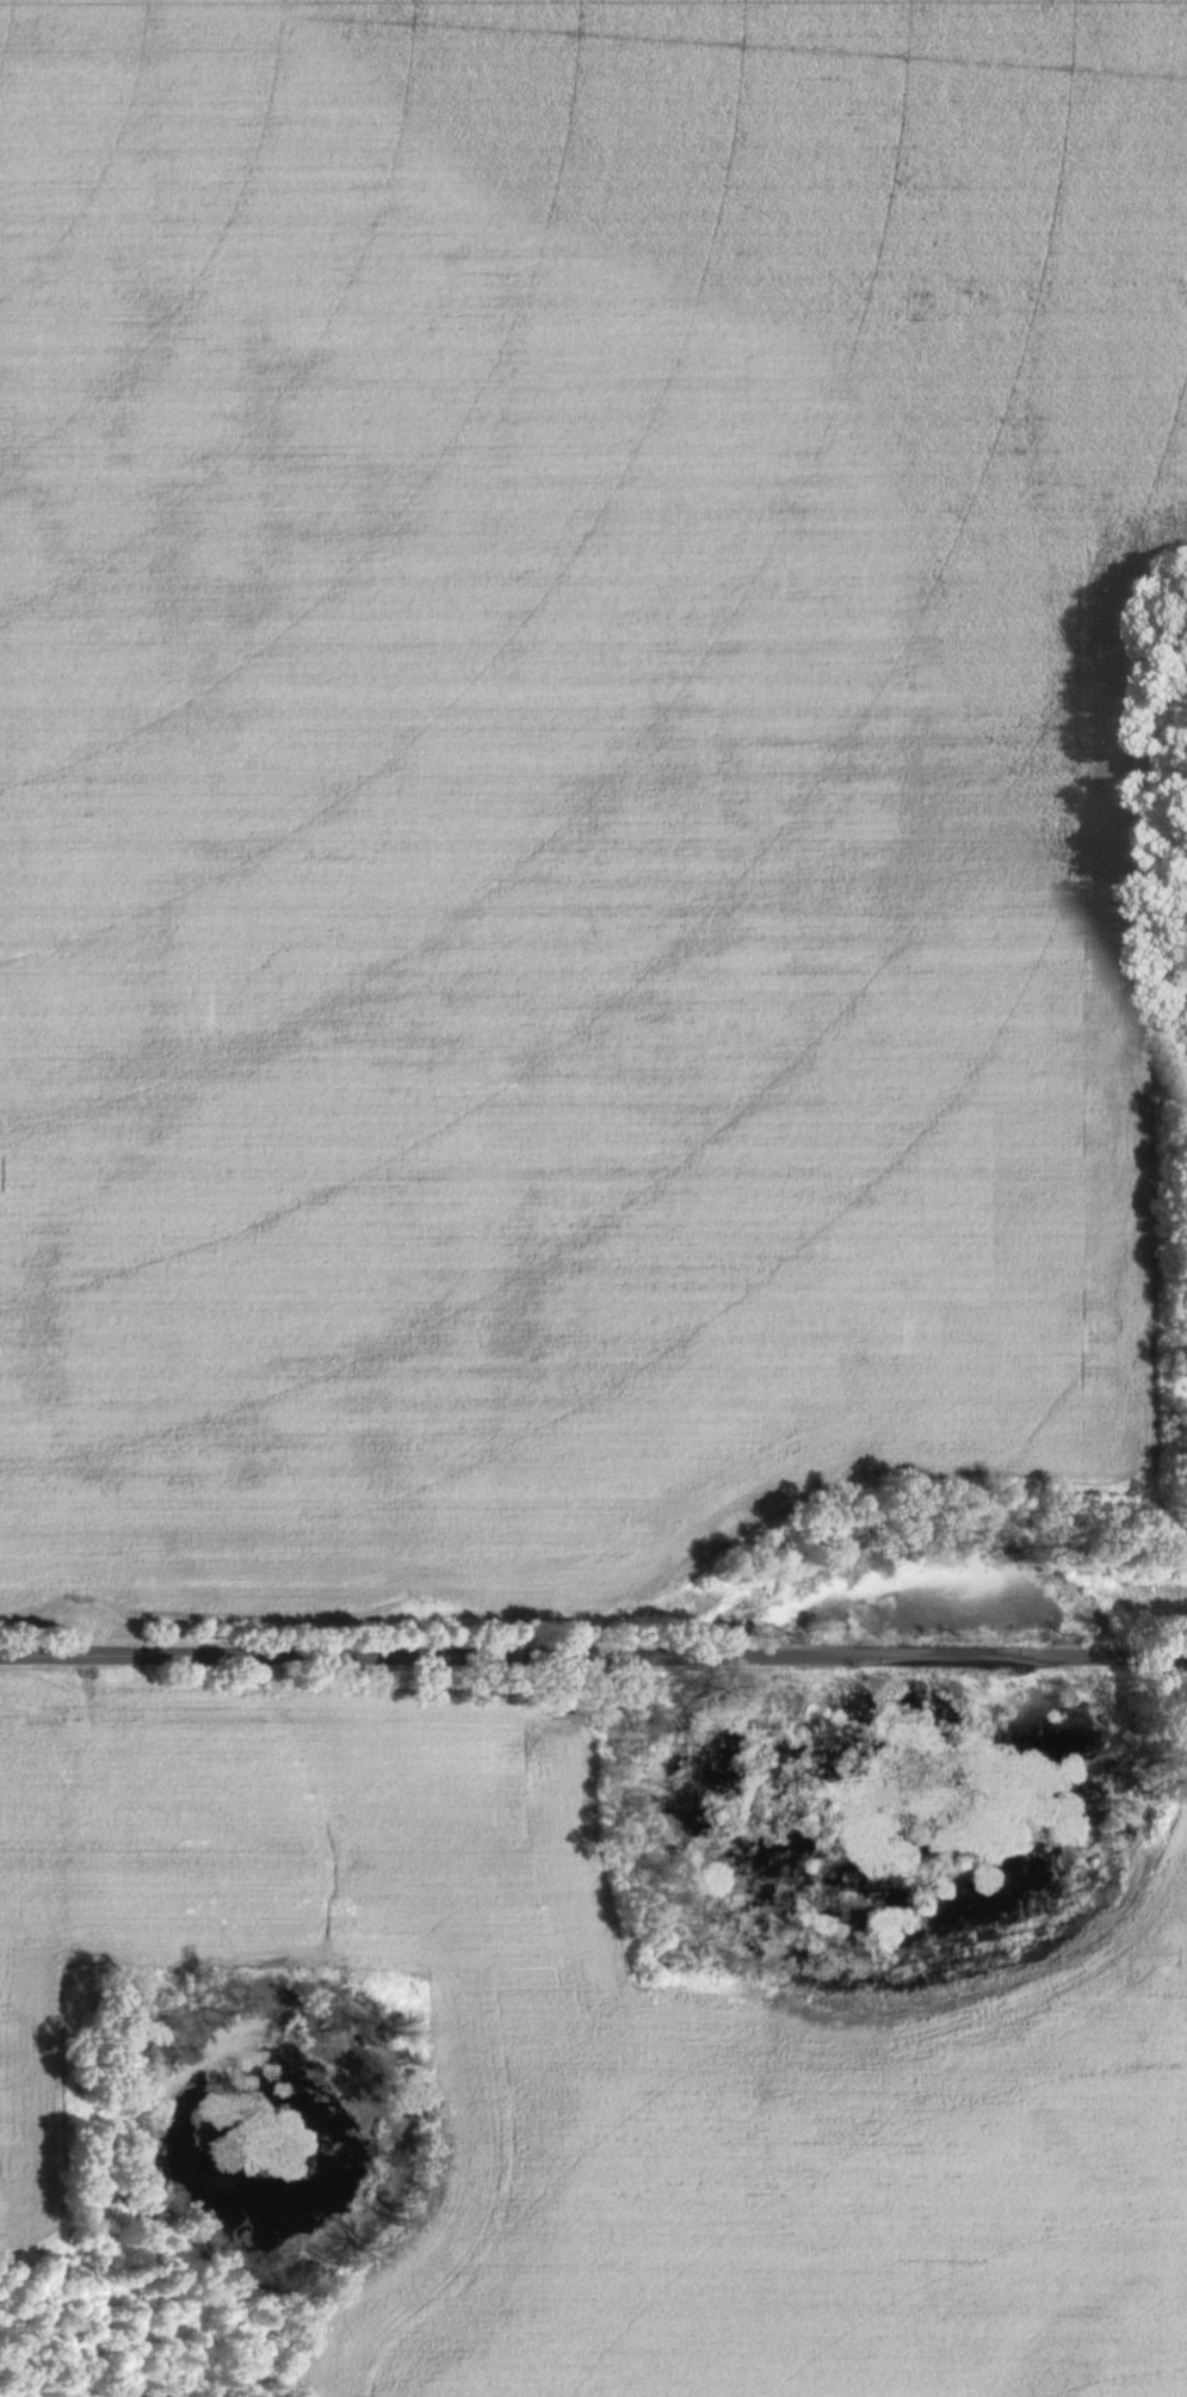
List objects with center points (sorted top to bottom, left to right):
crop: (567, 770)
road: (593, 1653)
crop: (617, 2062)

